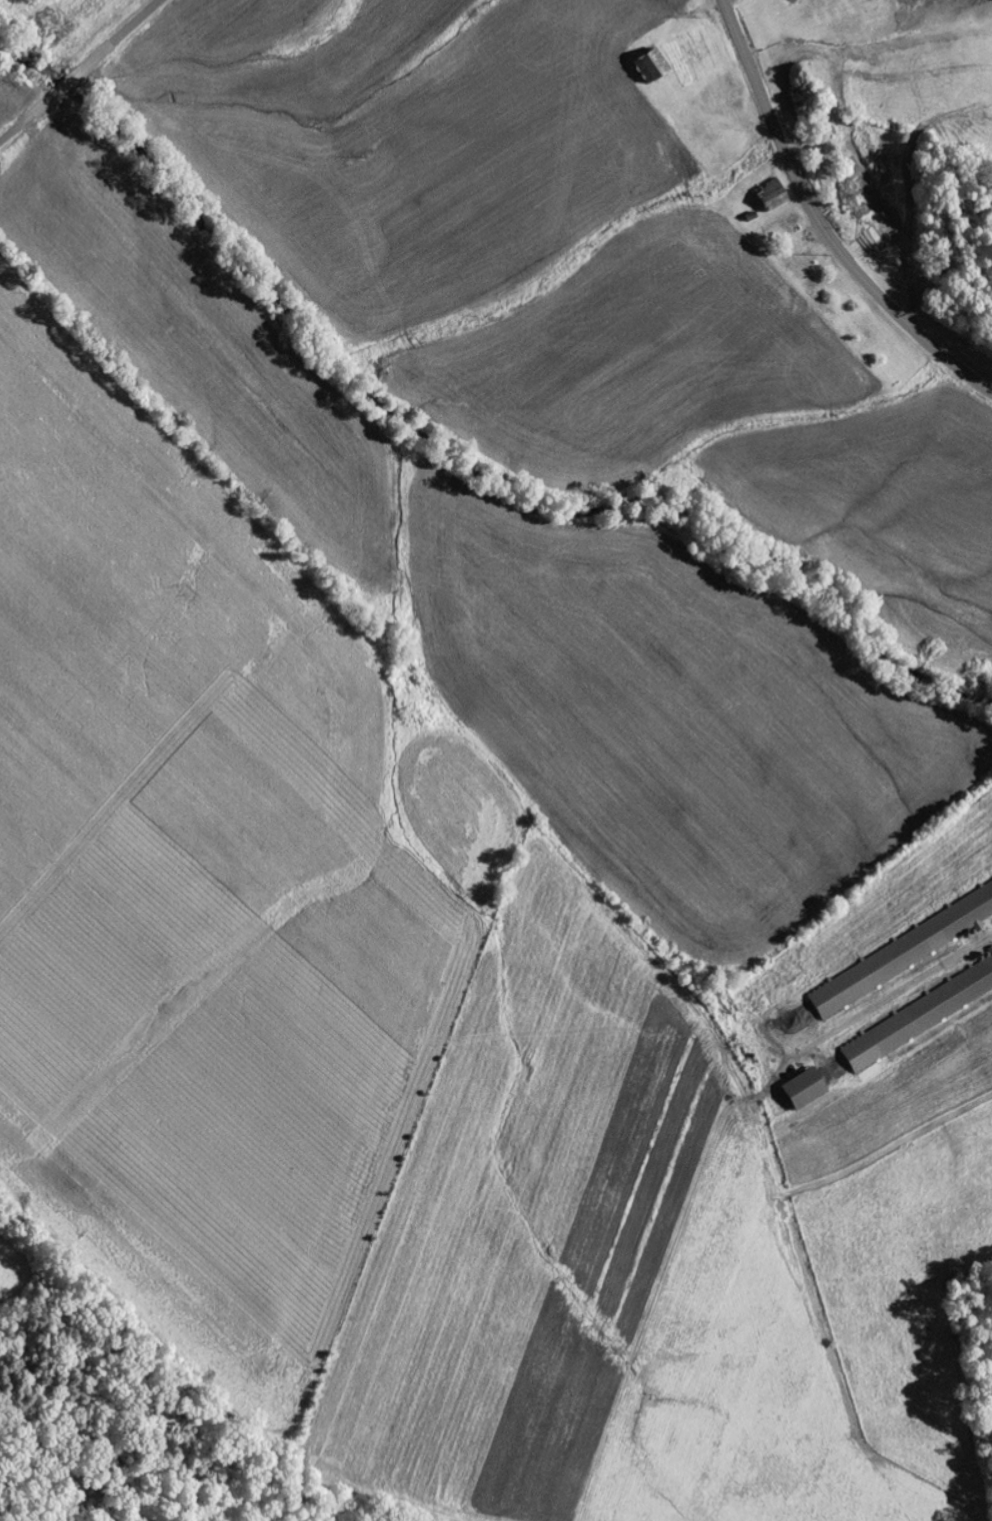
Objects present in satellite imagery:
building: (652, 65)
road: (82, 72)
building: (775, 201)
road: (821, 221)
building: (990, 951)
building: (901, 954)
building: (918, 1016)
building: (805, 1090)

